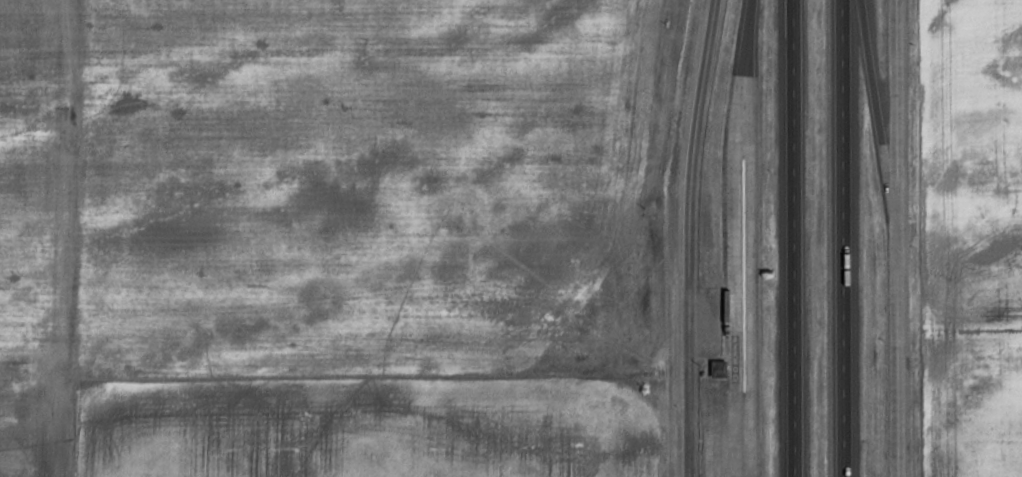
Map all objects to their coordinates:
road: (744, 40)
road: (878, 112)
road: (897, 112)
road: (691, 237)
road: (796, 238)
road: (845, 238)
road: (734, 278)
road: (901, 350)
building: (716, 368)

